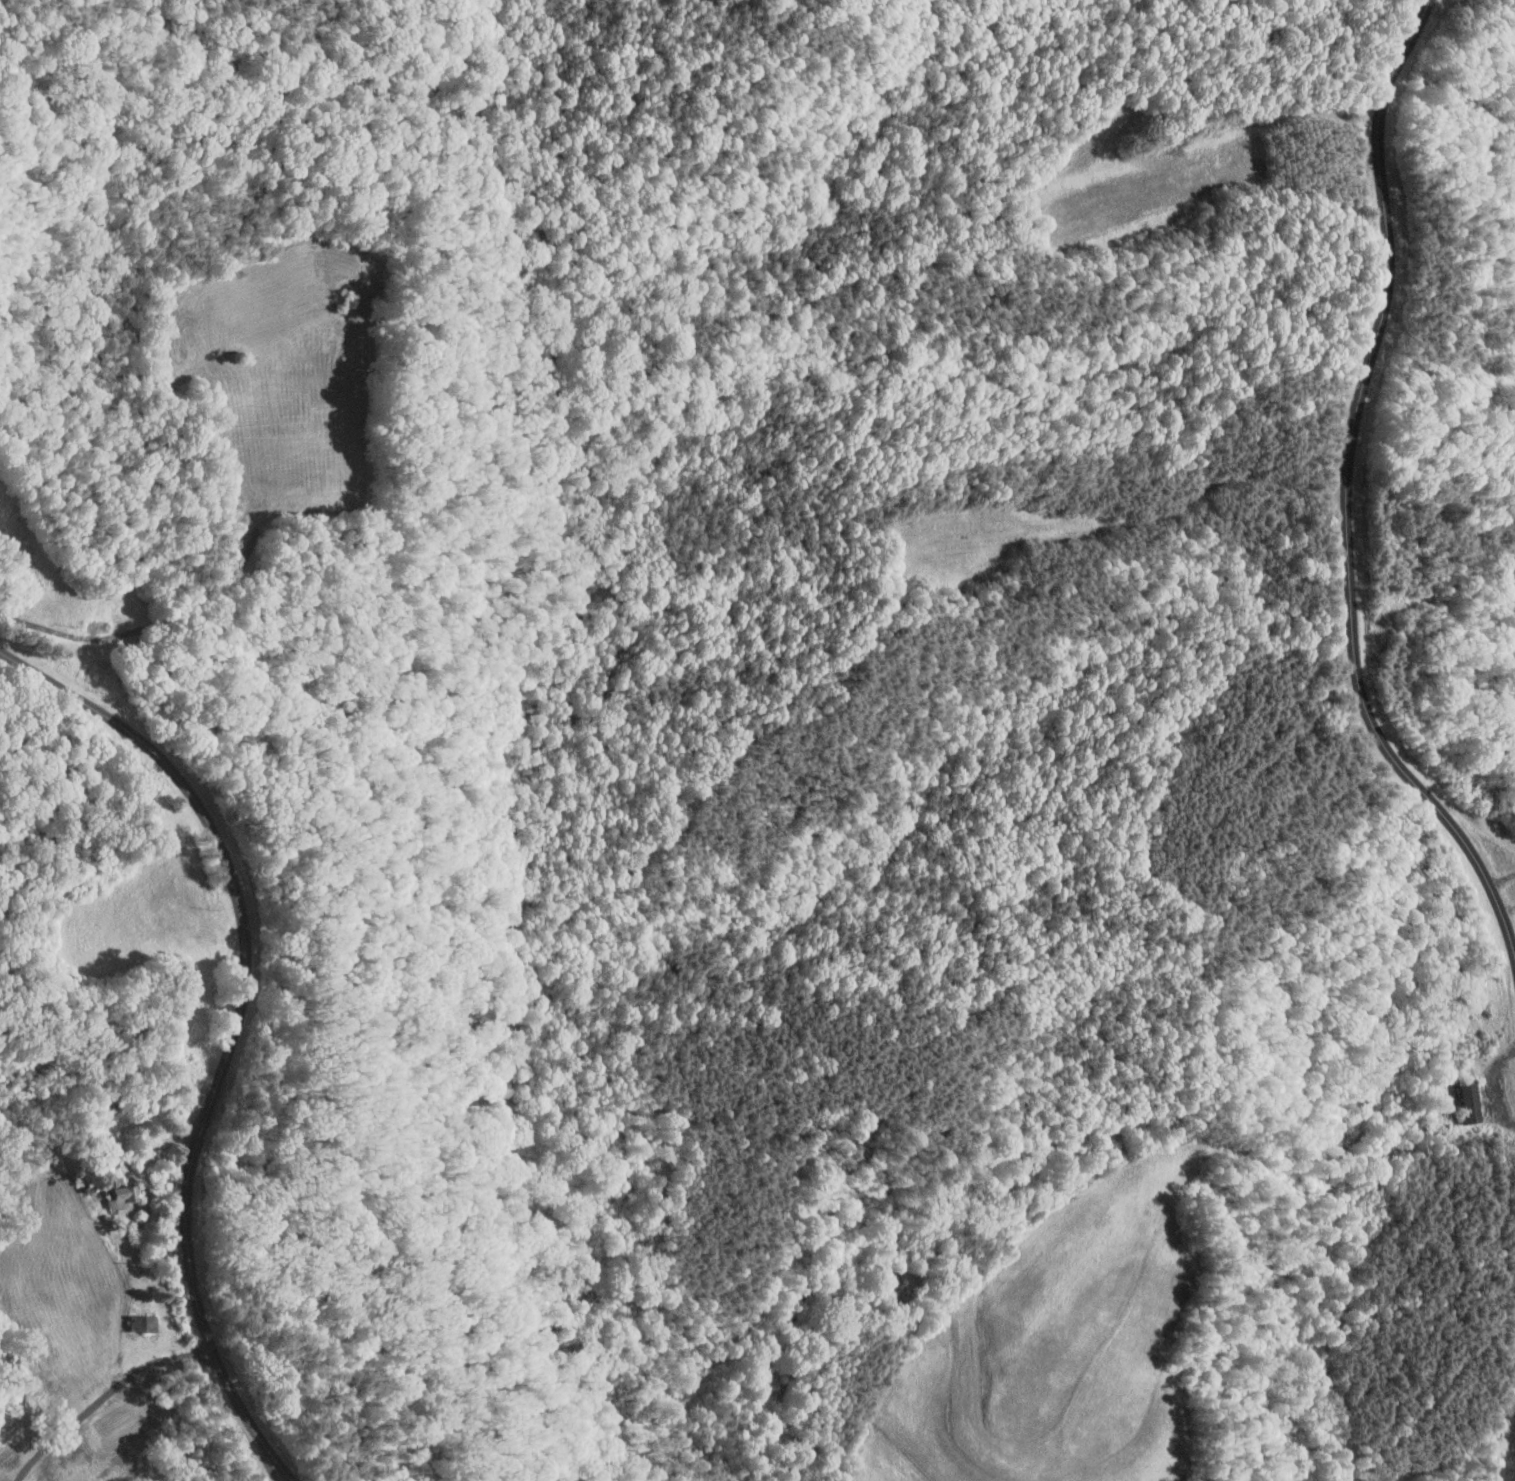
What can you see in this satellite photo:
road: (1349, 493)
road: (160, 630)
road: (235, 1028)
building: (1470, 1101)
building: (124, 1196)
road: (272, 1464)

